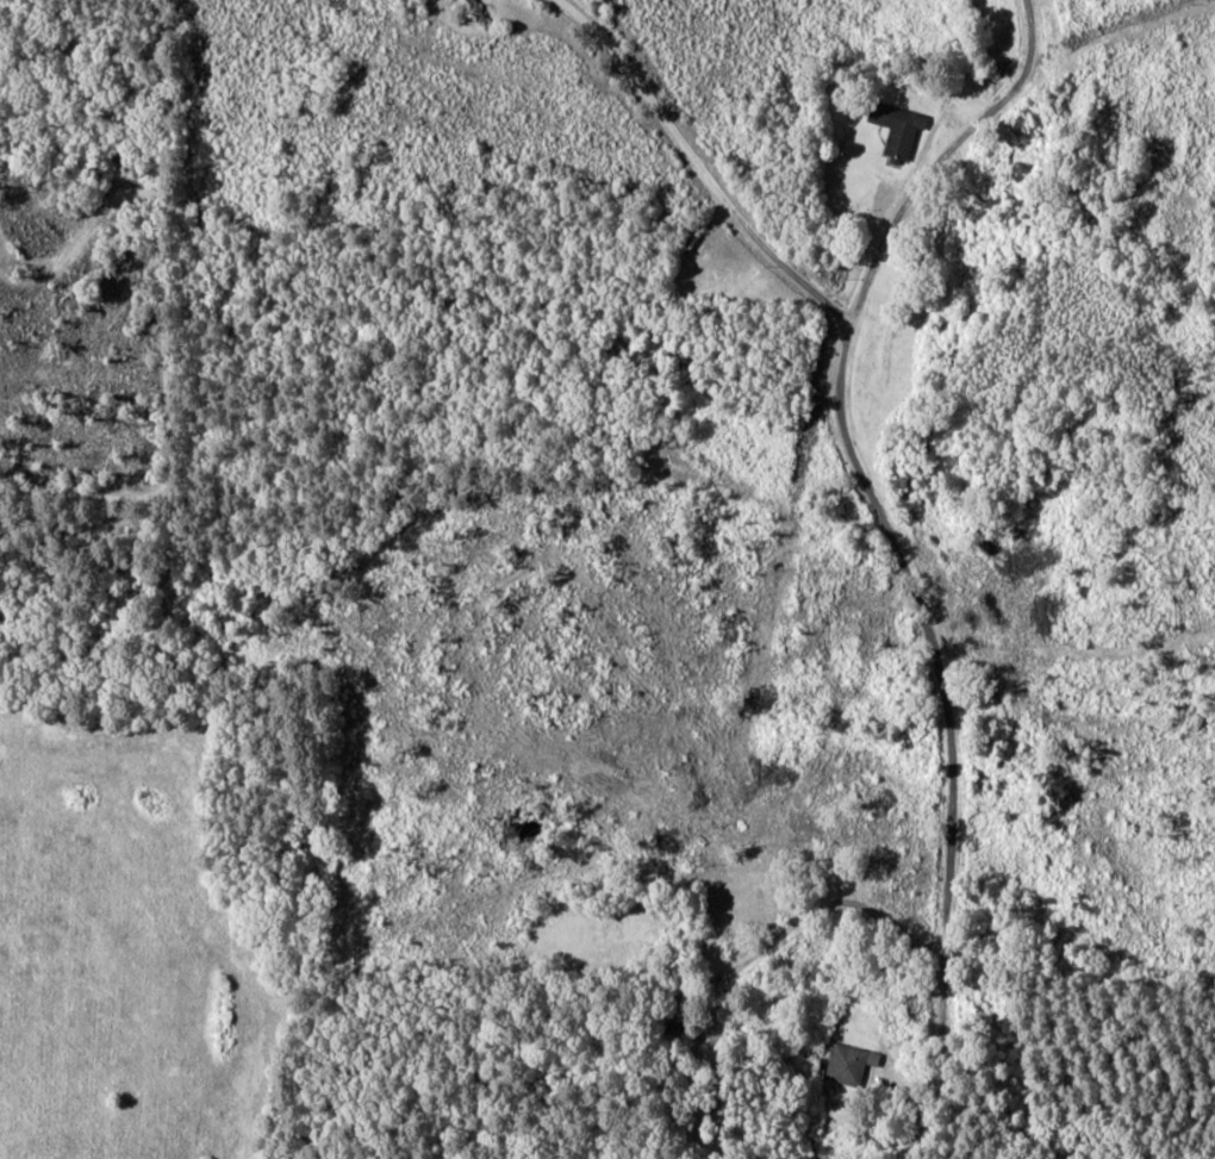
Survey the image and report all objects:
building: (899, 129)
road: (809, 712)
road: (881, 728)
road: (758, 952)
building: (852, 1067)
road: (941, 1070)

